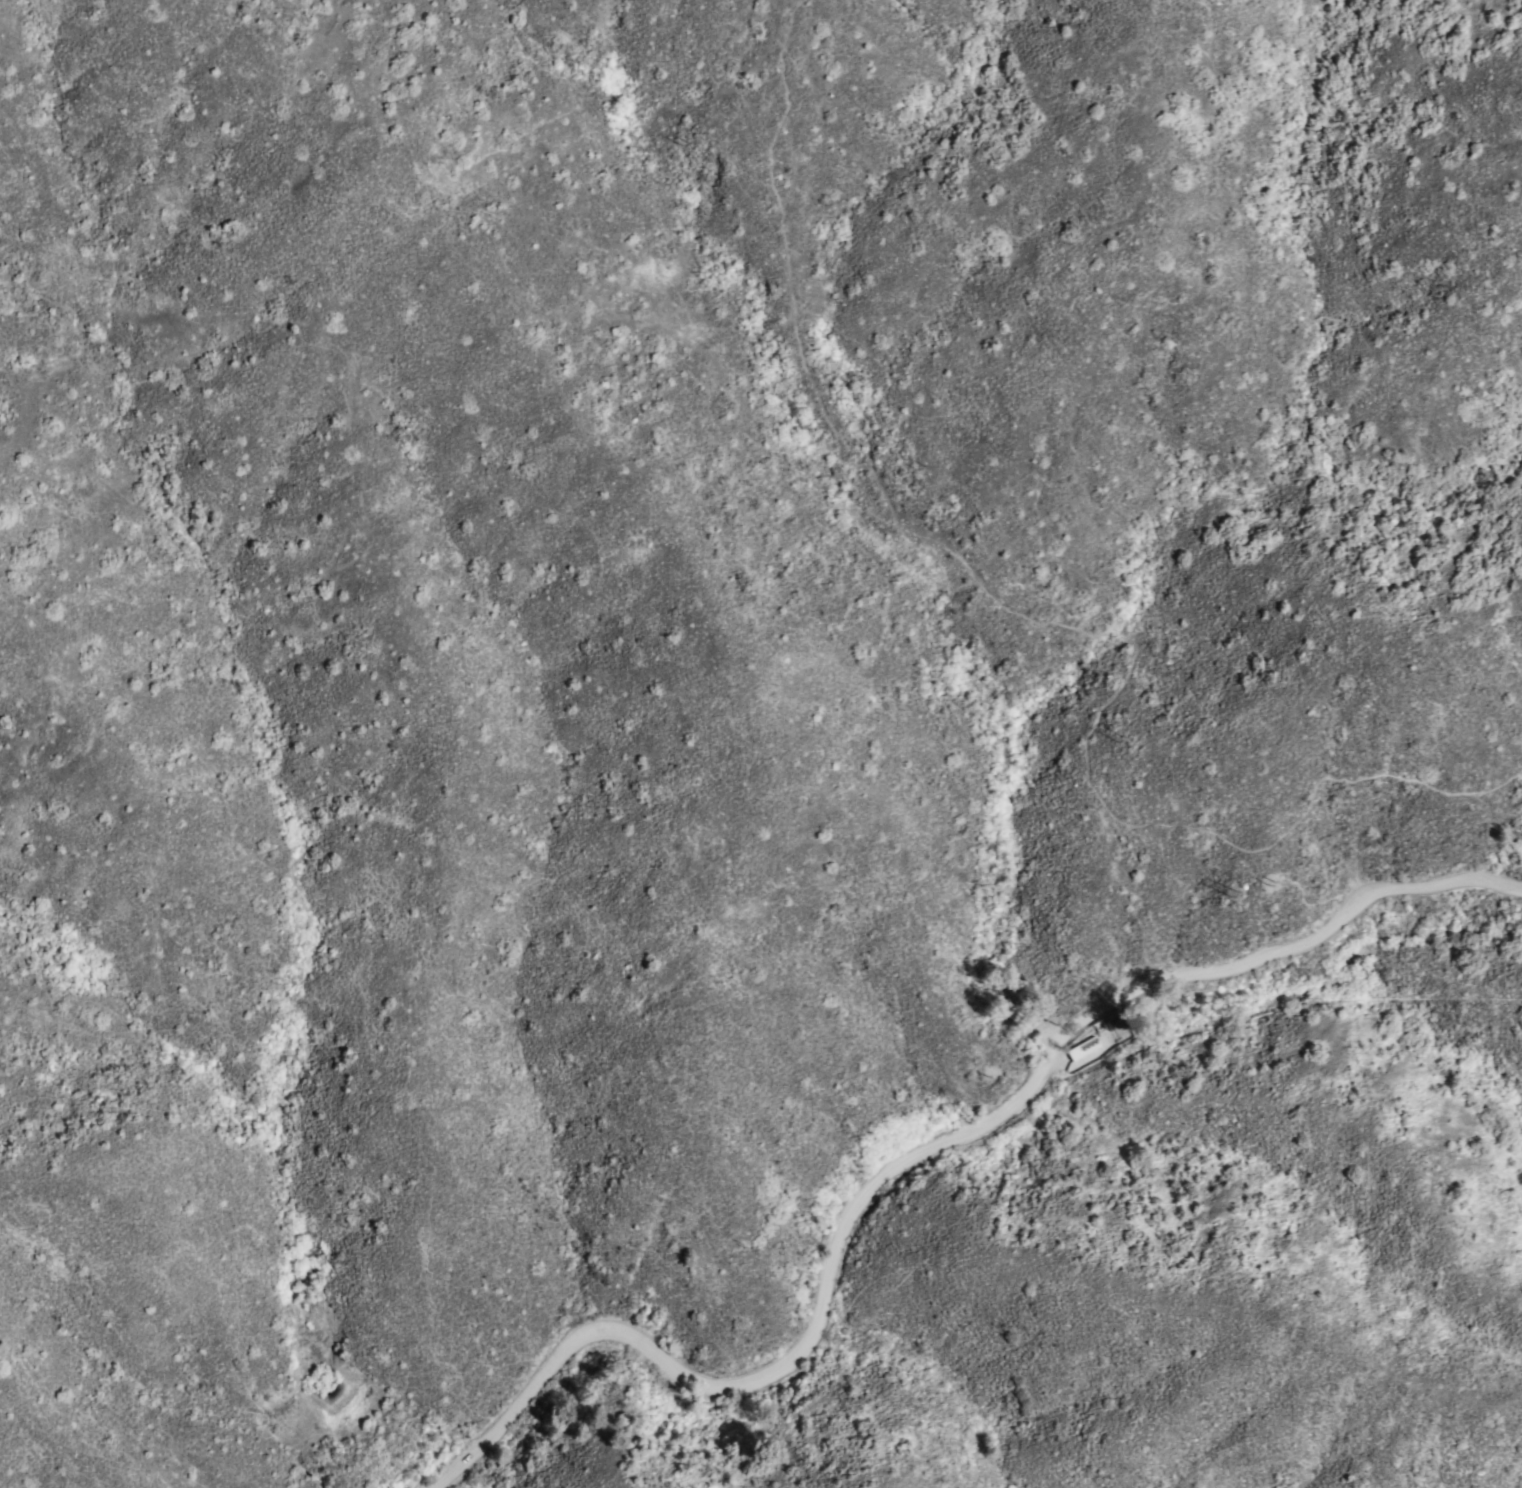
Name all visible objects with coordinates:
road: (1045, 622)
building: (1101, 1022)
building: (1082, 1047)
road: (922, 1151)

